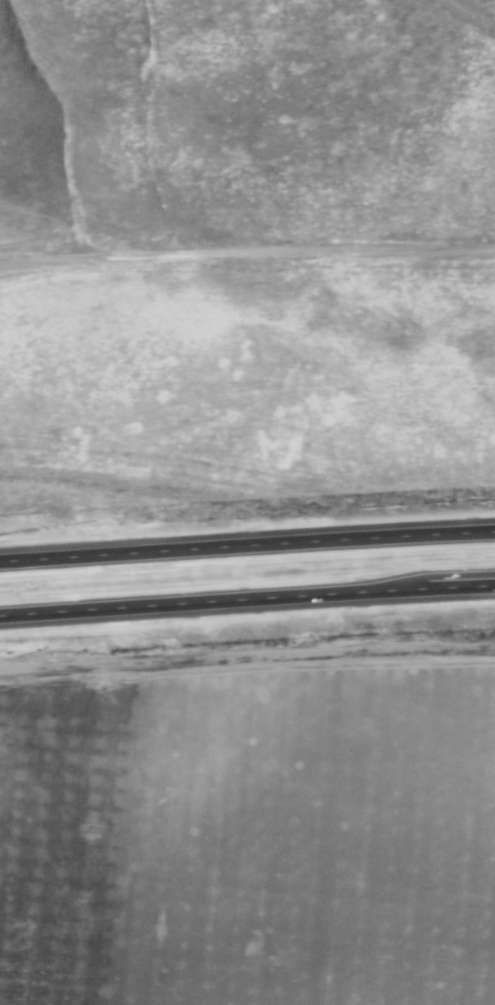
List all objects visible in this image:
road: (247, 255)
road: (247, 544)
road: (247, 599)
road: (247, 655)
crop: (249, 840)

